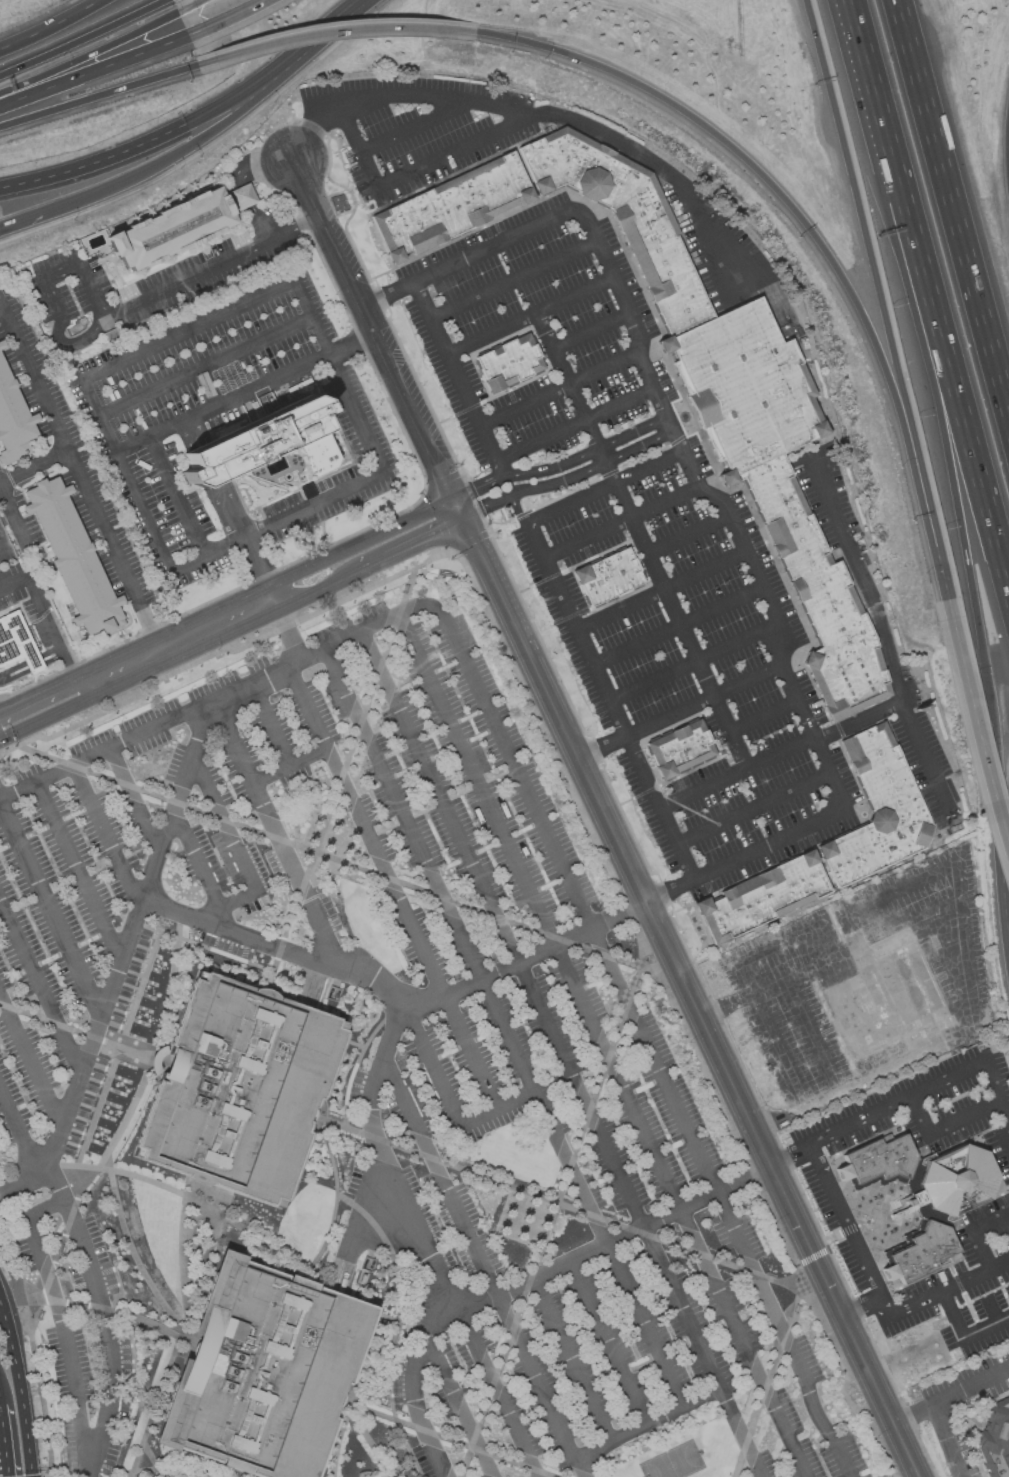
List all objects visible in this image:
road: (189, 4)
road: (222, 15)
road: (346, 18)
road: (48, 24)
road: (336, 24)
road: (80, 36)
road: (91, 51)
road: (94, 68)
road: (872, 79)
road: (101, 90)
road: (542, 112)
road: (415, 126)
parking lot: (417, 131)
road: (171, 132)
road: (208, 135)
road: (412, 171)
road: (240, 180)
road: (791, 204)
road: (952, 211)
road: (36, 217)
building: (176, 222)
parking lot: (717, 248)
road: (335, 249)
road: (875, 270)
road: (514, 282)
road: (292, 283)
road: (0, 305)
road: (122, 309)
road: (528, 316)
road: (590, 332)
road: (352, 347)
building: (508, 362)
road: (203, 367)
building: (687, 371)
road: (951, 371)
road: (557, 390)
road: (222, 406)
road: (938, 414)
building: (15, 416)
road: (412, 417)
road: (196, 428)
road: (185, 434)
building: (275, 444)
road: (490, 452)
road: (585, 456)
road: (214, 458)
road: (198, 465)
road: (33, 466)
road: (591, 468)
road: (499, 471)
road: (79, 477)
road: (476, 486)
road: (224, 487)
road: (212, 492)
parking lot: (826, 496)
road: (178, 497)
traffic signals: (452, 498)
road: (712, 499)
road: (484, 506)
road: (455, 508)
road: (517, 509)
road: (11, 511)
traffic signals: (459, 518)
road: (618, 525)
road: (689, 535)
road: (640, 540)
road: (357, 541)
road: (4, 542)
parking lot: (631, 542)
road: (408, 543)
road: (248, 545)
building: (76, 554)
road: (941, 570)
building: (608, 578)
road: (316, 588)
road: (661, 590)
road: (37, 601)
road: (879, 624)
road: (677, 625)
road: (572, 626)
road: (285, 628)
road: (180, 638)
building: (16, 642)
road: (694, 663)
road: (43, 689)
road: (678, 711)
road: (49, 715)
road: (762, 717)
road: (268, 726)
road: (975, 726)
building: (680, 750)
road: (926, 760)
parking lot: (927, 764)
road: (288, 767)
road: (735, 773)
road: (338, 781)
road: (570, 792)
road: (437, 798)
road: (134, 800)
road: (996, 807)
road: (752, 810)
road: (400, 815)
road: (224, 826)
road: (540, 826)
road: (273, 832)
road: (363, 832)
road: (107, 835)
building: (832, 846)
road: (195, 862)
road: (338, 862)
road: (79, 871)
road: (228, 904)
road: (849, 910)
road: (50, 912)
road: (650, 916)
road: (202, 949)
road: (283, 953)
road: (535, 956)
road: (120, 959)
road: (965, 983)
road: (40, 989)
road: (81, 1034)
parking lot: (522, 1040)
road: (602, 1045)
road: (116, 1051)
road: (469, 1052)
road: (30, 1061)
road: (354, 1066)
building: (239, 1089)
road: (911, 1095)
road: (447, 1101)
road: (778, 1119)
road: (943, 1126)
road: (18, 1136)
parking lot: (631, 1142)
road: (169, 1191)
road: (581, 1195)
building: (922, 1197)
road: (334, 1203)
road: (561, 1205)
road: (115, 1208)
road: (553, 1213)
road: (844, 1219)
road: (637, 1221)
road: (632, 1232)
road: (973, 1232)
road: (417, 1234)
road: (61, 1249)
road: (810, 1256)
road: (481, 1267)
road: (12, 1272)
road: (461, 1299)
road: (403, 1301)
road: (918, 1301)
road: (103, 1306)
road: (989, 1309)
road: (61, 1315)
road: (183, 1334)
road: (962, 1336)
road: (184, 1342)
road: (608, 1344)
road: (569, 1361)
building: (263, 1371)
road: (769, 1379)
road: (970, 1384)
road: (21, 1386)
road: (42, 1388)
road: (497, 1388)
road: (878, 1396)
road: (460, 1405)
road: (911, 1412)
road: (648, 1425)
parking lot: (791, 1426)
road: (445, 1437)
road: (4, 1439)
road: (370, 1439)
road: (946, 1439)
building: (995, 1439)
road: (154, 1460)
park: (674, 1461)
road: (91, 1465)
road: (329, 1467)
road: (175, 1470)
road: (233, 1472)

